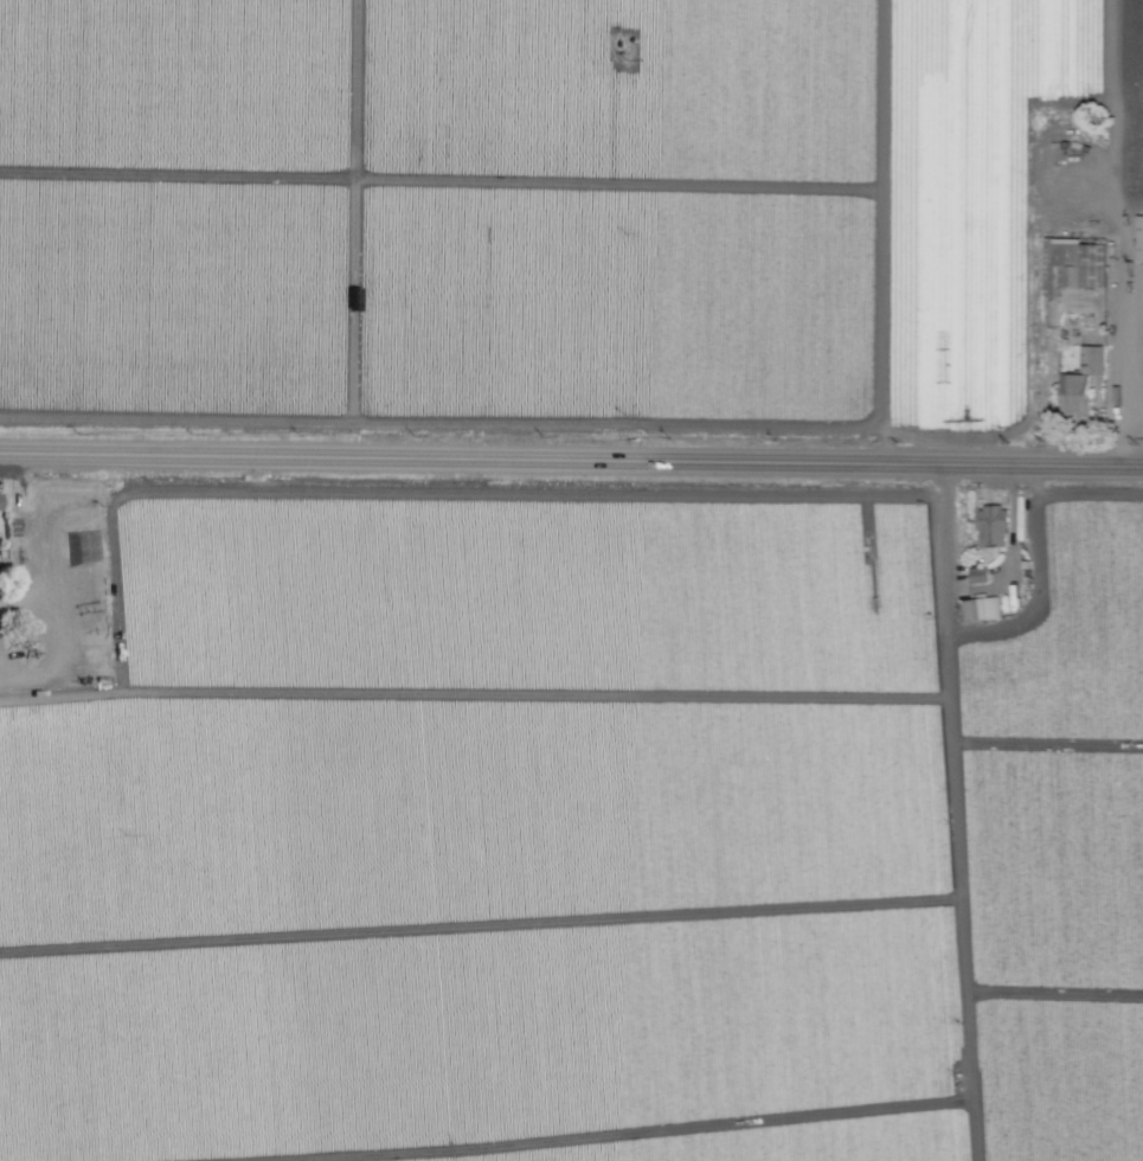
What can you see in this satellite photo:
road: (891, 232)
building: (1139, 238)
building: (1070, 264)
road: (1125, 353)
building: (1094, 359)
building: (1075, 393)
road: (571, 461)
building: (991, 526)
road: (1012, 528)
crop: (571, 580)
building: (980, 608)

